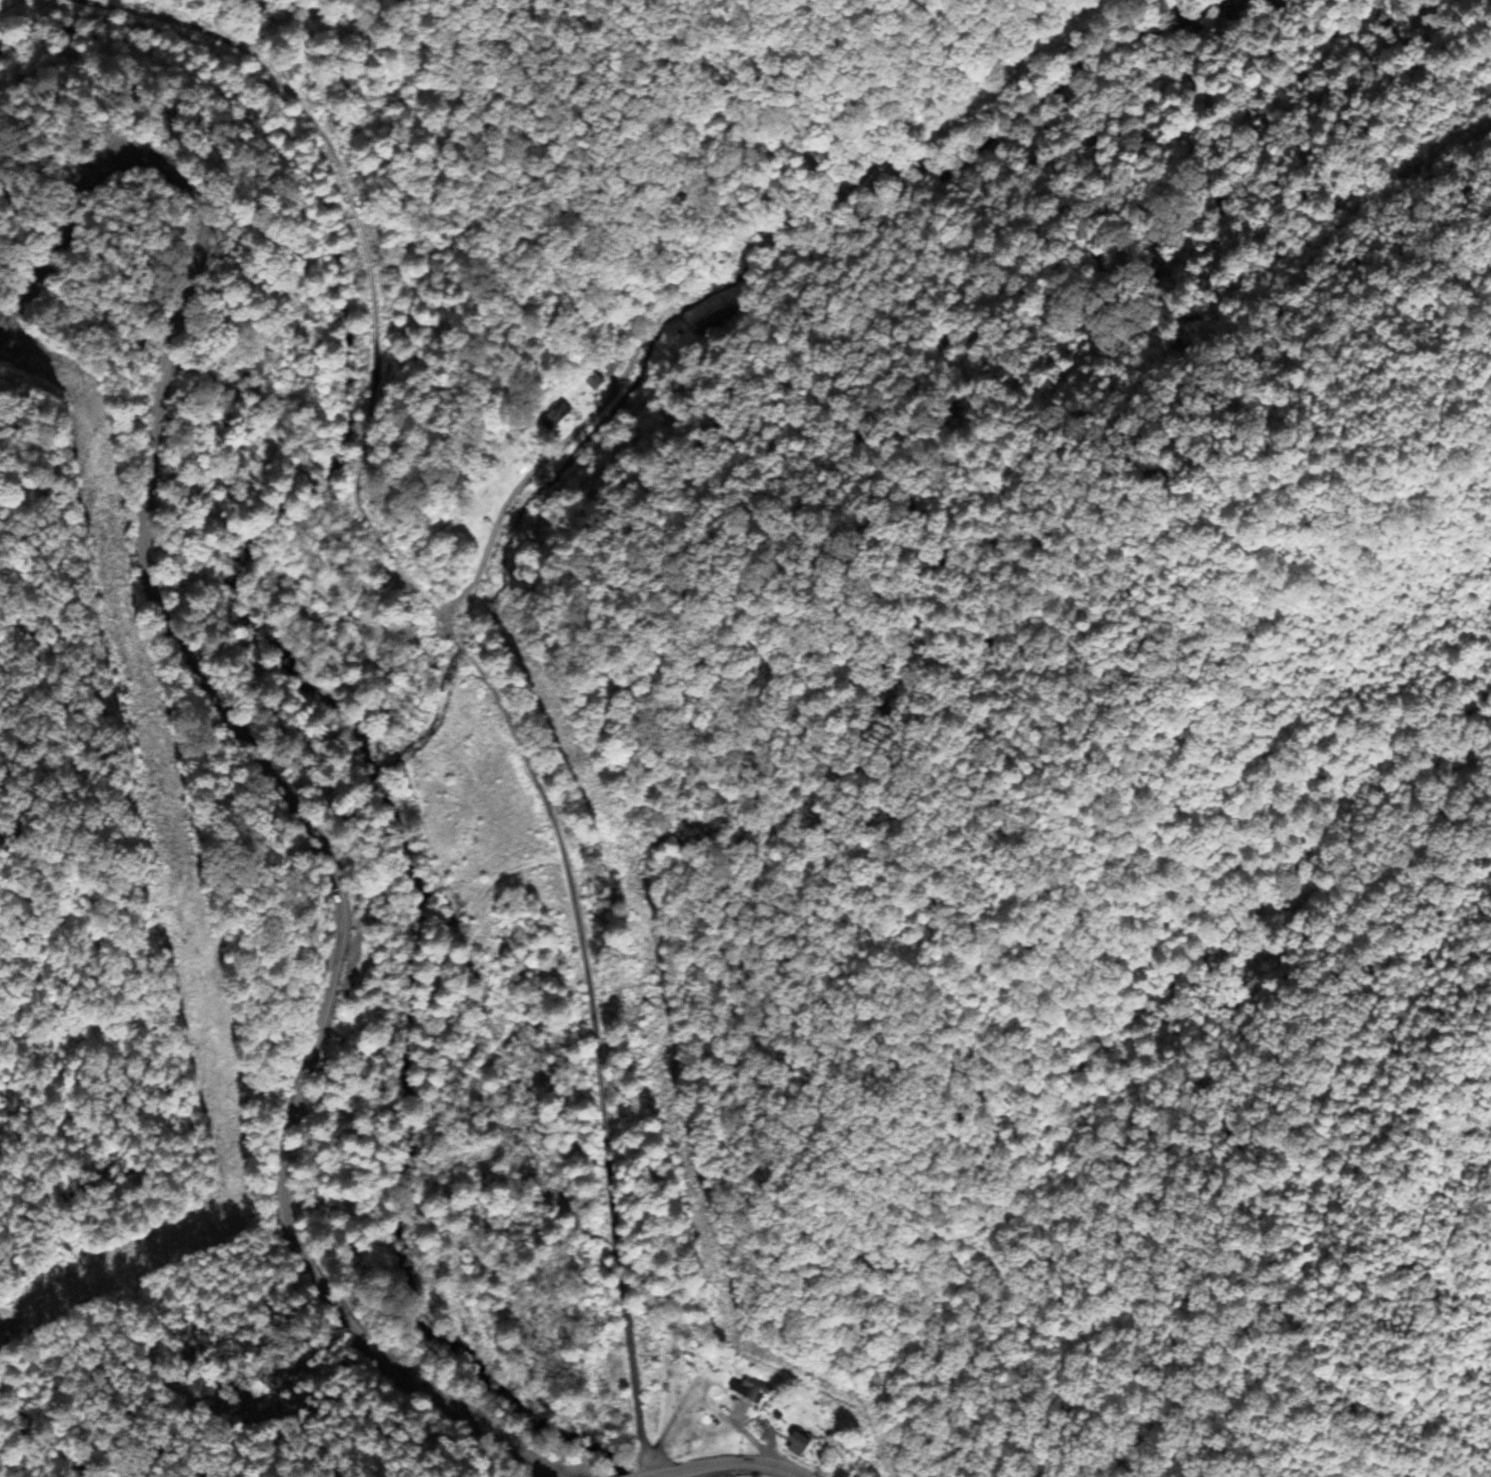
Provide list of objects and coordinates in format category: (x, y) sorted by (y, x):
building: (593, 381)
building: (556, 415)
road: (431, 618)
road: (254, 747)
building: (749, 1388)
building: (797, 1443)
road: (725, 1466)

